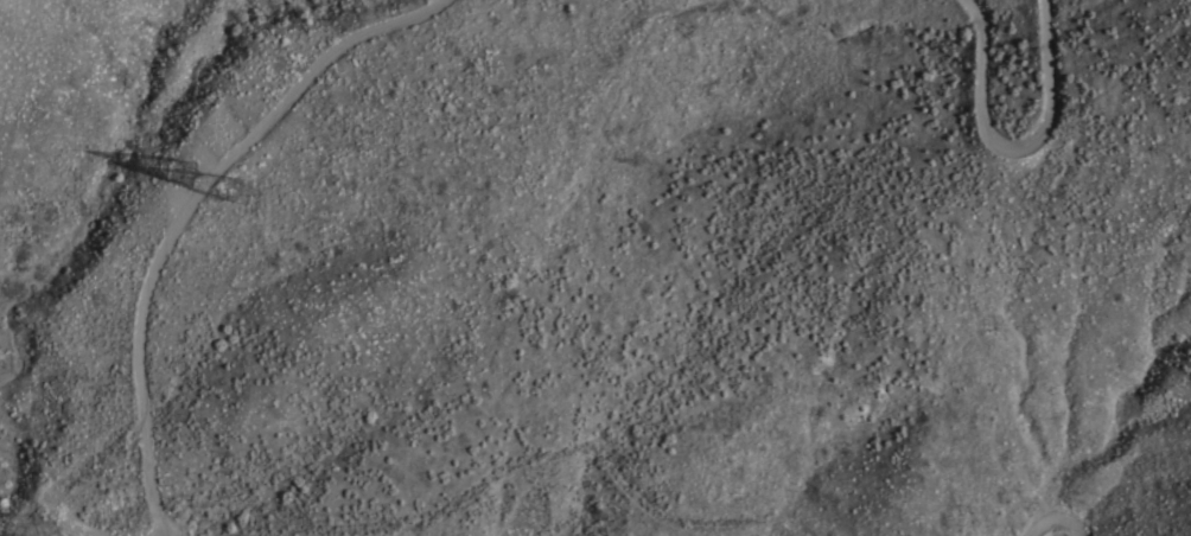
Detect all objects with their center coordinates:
road: (1011, 129)
power tower: (179, 190)
power tower: (235, 200)
road: (166, 215)
road: (1056, 522)

